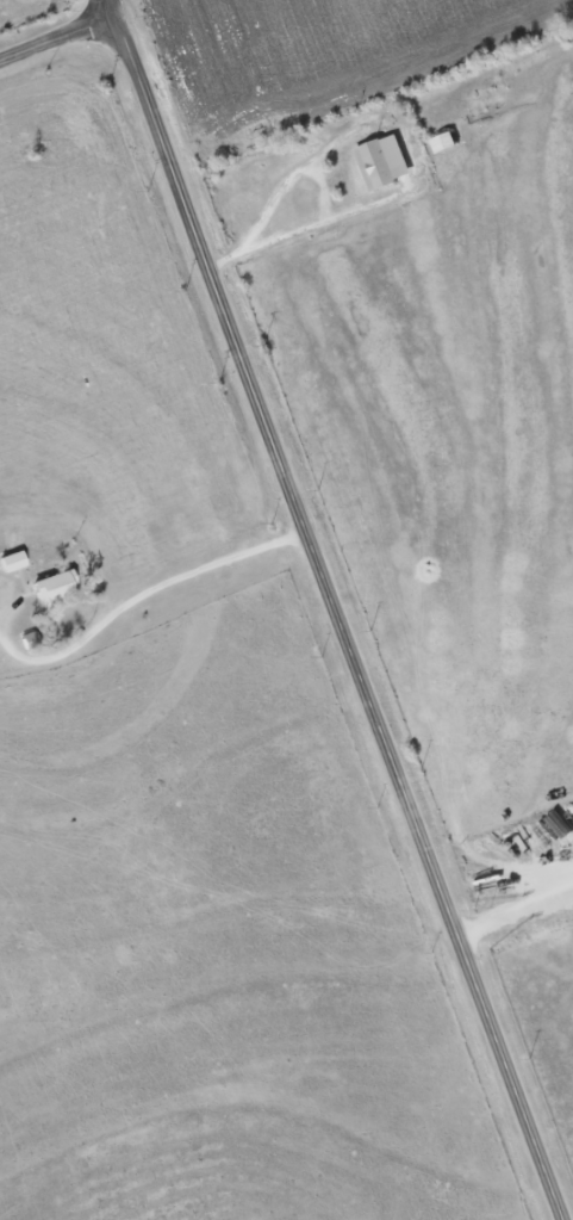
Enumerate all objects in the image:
road: (54, 30)
building: (443, 143)
building: (382, 163)
building: (11, 563)
building: (51, 589)
road: (332, 609)
road: (515, 916)

